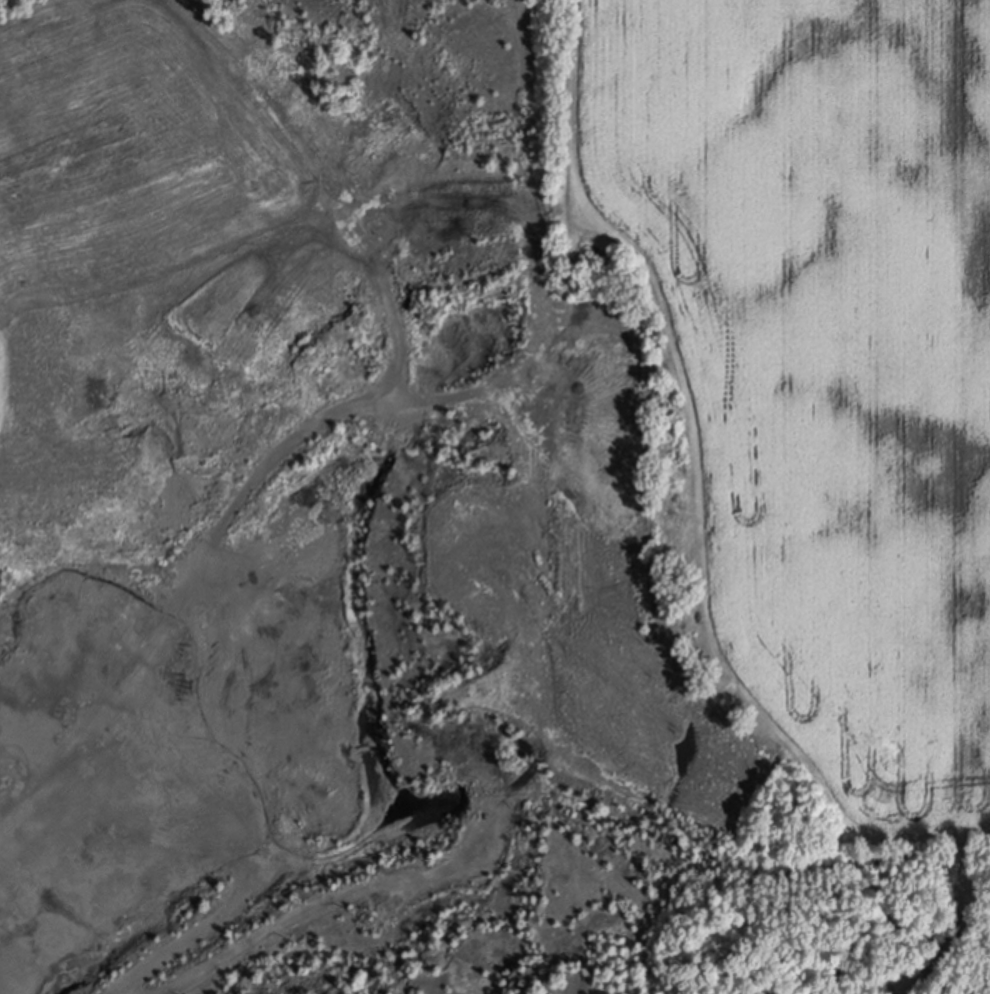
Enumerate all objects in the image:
crop: (817, 360)
quarry: (285, 497)

